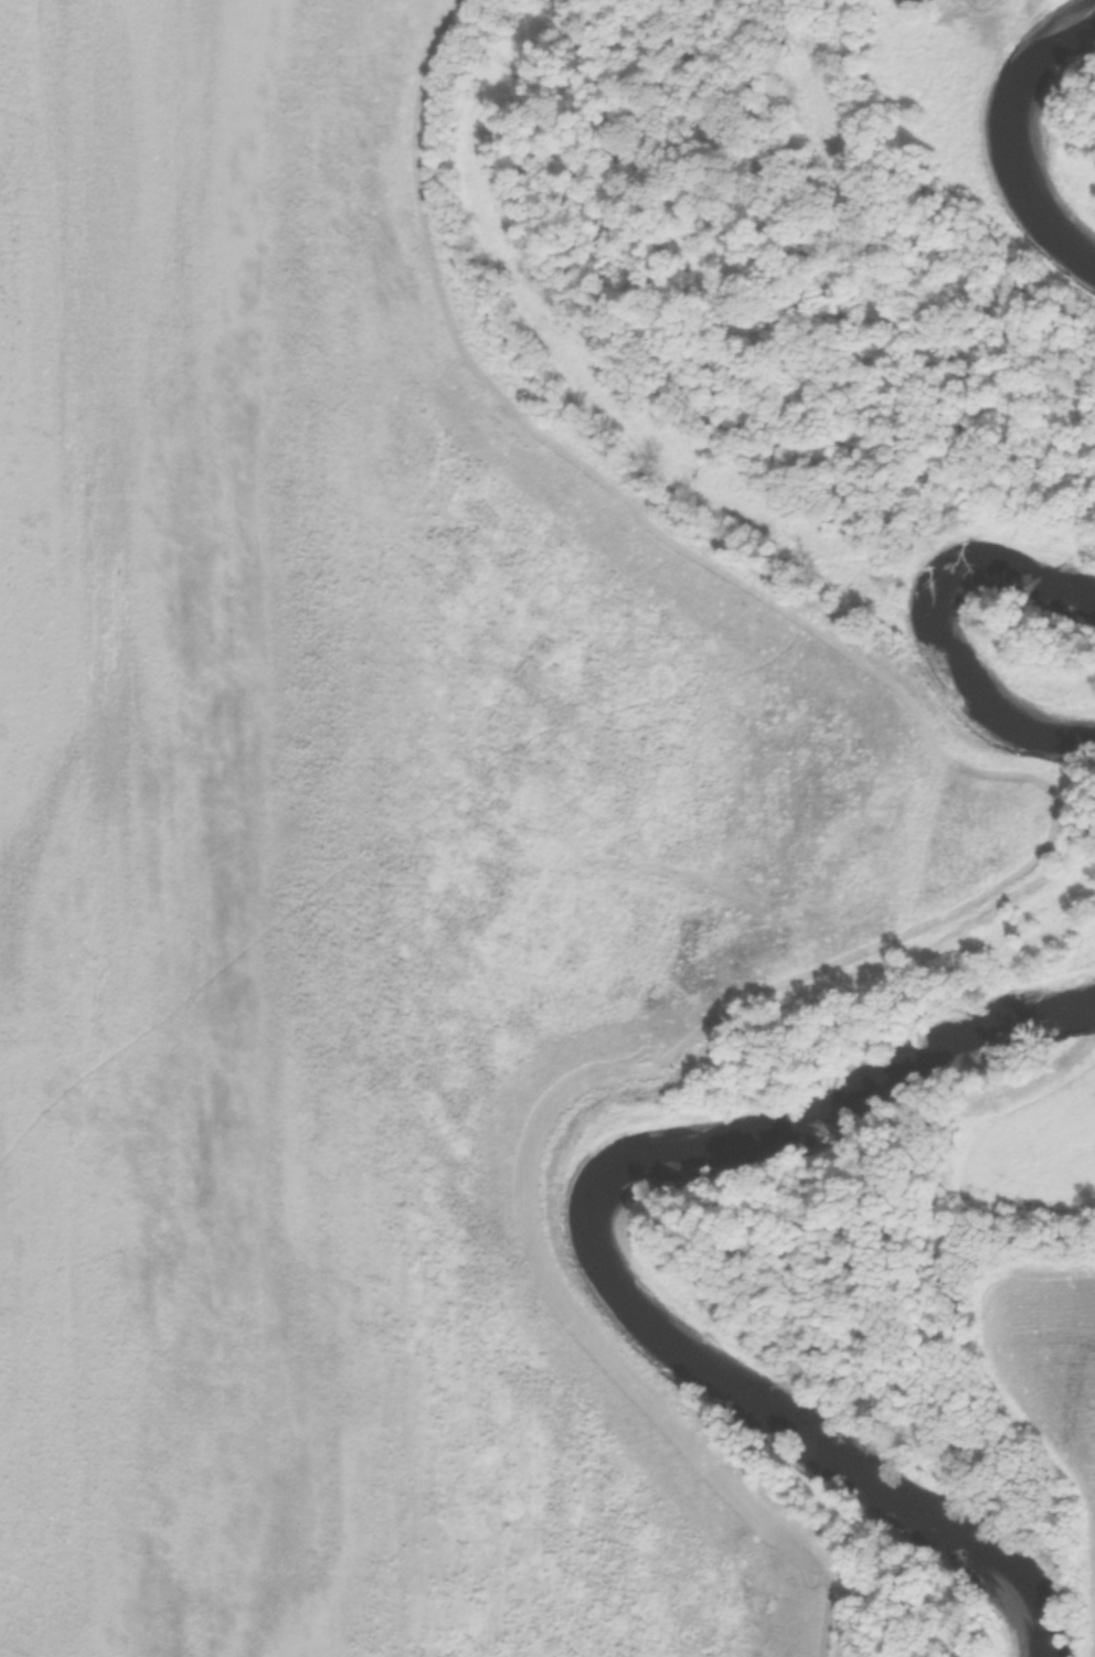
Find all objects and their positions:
river: (1018, 124)
river: (937, 629)
river: (602, 1248)

